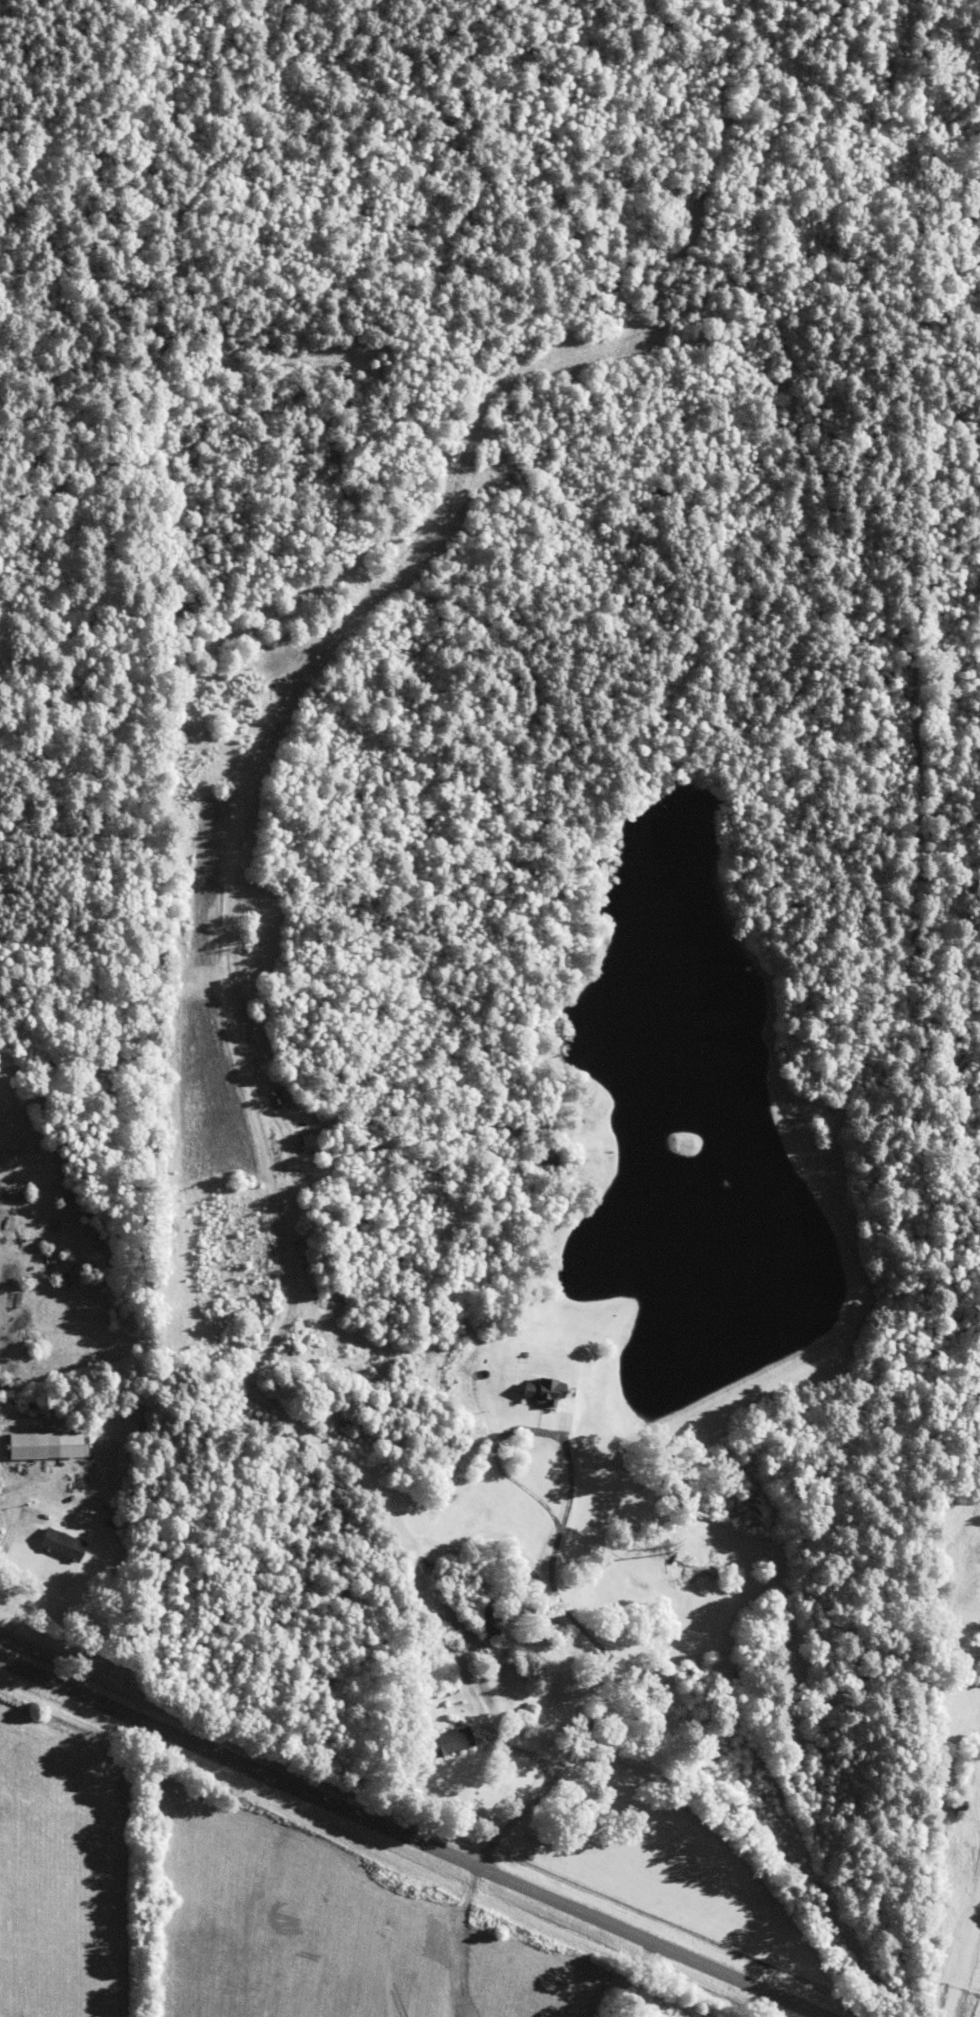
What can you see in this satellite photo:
building: (306, 1140)
building: (543, 1388)
building: (43, 1445)
building: (60, 1542)
building: (482, 1605)
building: (449, 1739)
road: (413, 1838)

